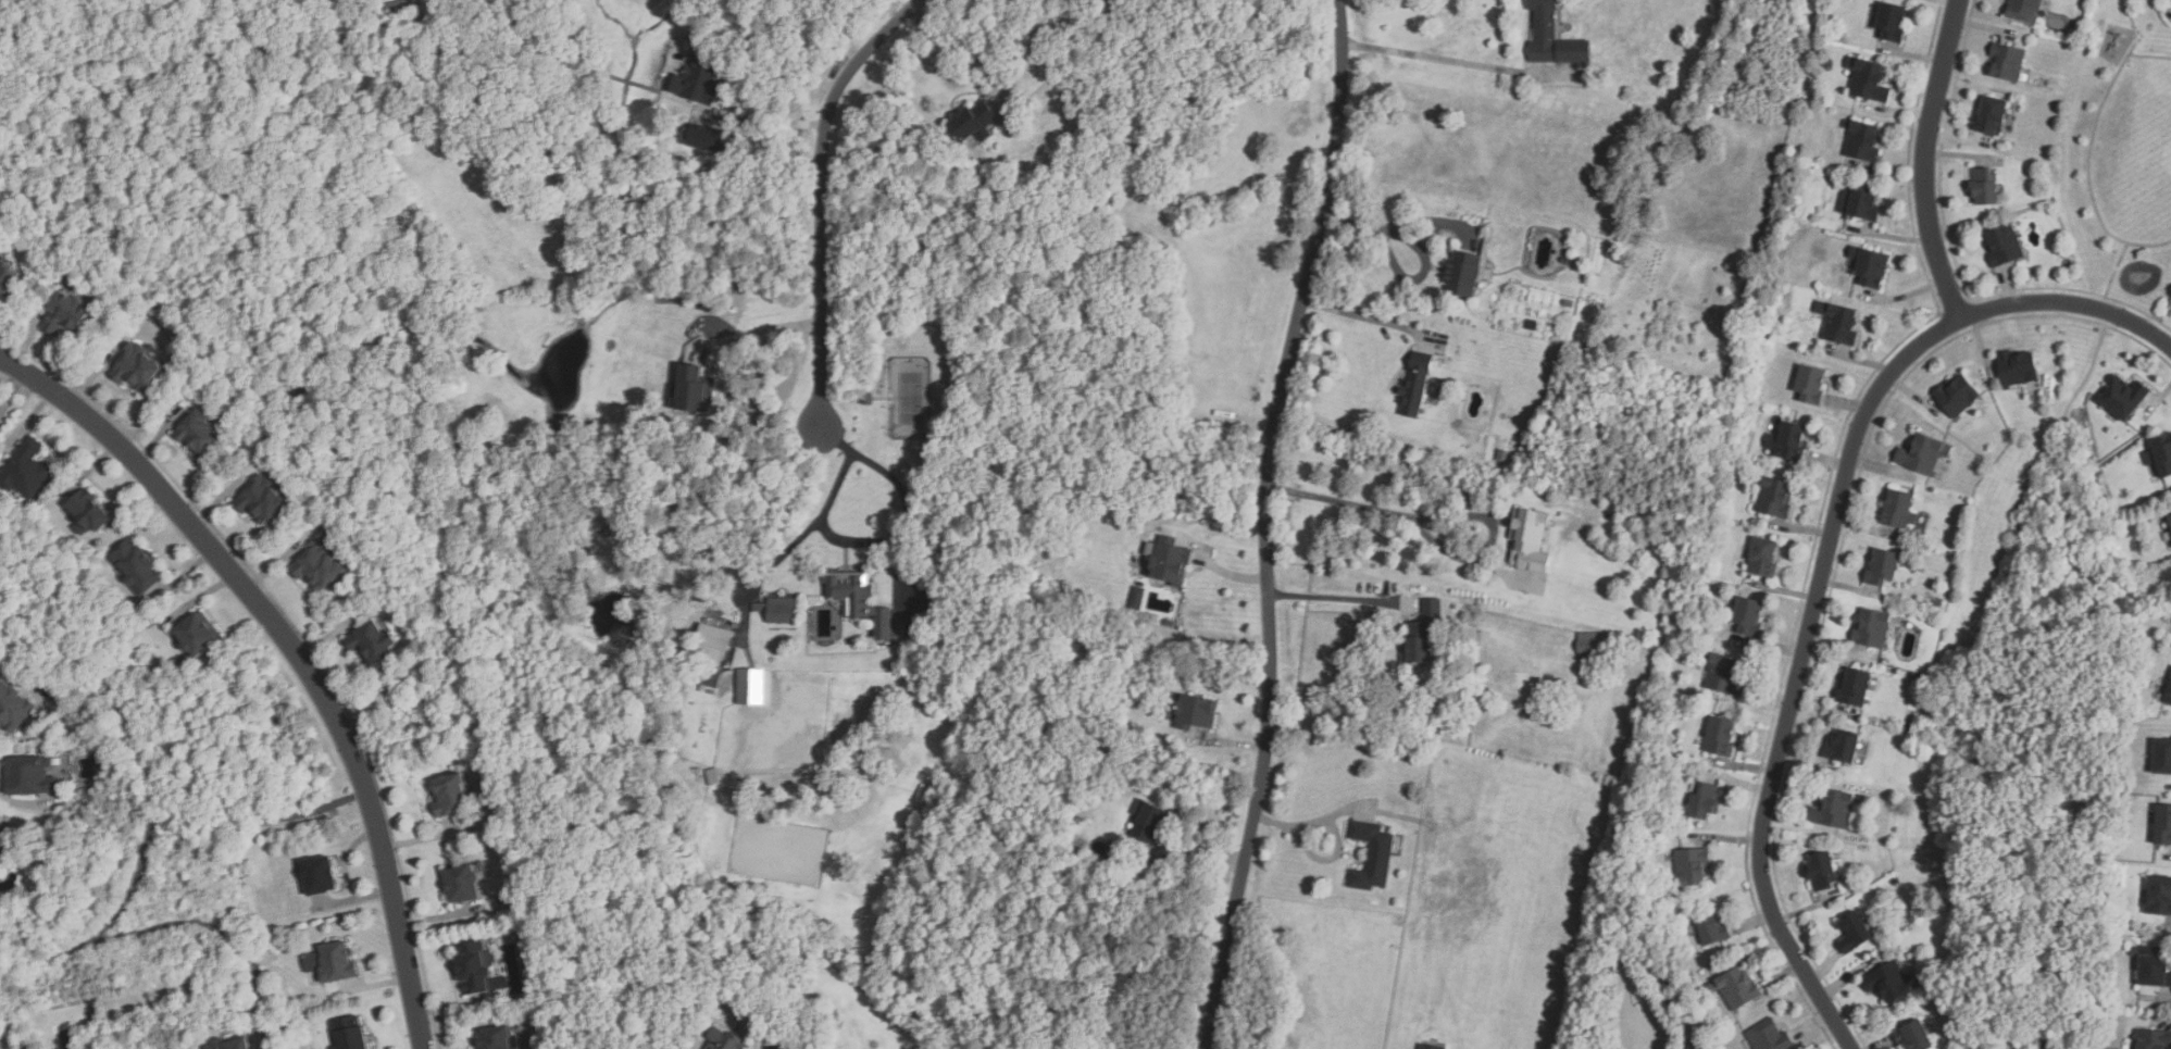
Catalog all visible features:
building: (2022, 10)
building: (403, 13)
building: (1892, 22)
building: (1550, 36)
road: (958, 46)
road: (1453, 62)
building: (2007, 62)
building: (1868, 79)
building: (698, 82)
building: (1992, 114)
road: (772, 115)
building: (973, 121)
building: (712, 140)
building: (1862, 140)
road: (1929, 159)
building: (1984, 186)
road: (829, 196)
building: (1863, 203)
road: (1395, 226)
building: (2004, 245)
building: (1567, 261)
building: (1870, 267)
road: (1423, 273)
building: (1462, 274)
building: (8, 278)
building: (66, 315)
road: (1368, 317)
building: (1842, 324)
building: (1533, 325)
road: (769, 328)
building: (137, 366)
building: (2018, 367)
building: (1810, 384)
building: (1415, 386)
building: (695, 389)
building: (1957, 396)
building: (2122, 397)
building: (868, 400)
building: (199, 434)
building: (1791, 441)
building: (2160, 453)
building: (1924, 454)
building: (27, 470)
building: (1774, 497)
building: (260, 501)
building: (1899, 509)
road: (1451, 511)
building: (87, 513)
building: (2169, 517)
road: (1265, 523)
road: (898, 540)
building: (1531, 541)
river: (2055, 545)
road: (785, 553)
building: (1762, 557)
road: (1824, 562)
building: (1171, 564)
building: (317, 565)
building: (137, 567)
building: (1882, 567)
road: (1230, 574)
road: (1335, 594)
building: (859, 600)
building: (781, 609)
building: (1669, 611)
building: (1748, 616)
building: (1872, 628)
building: (195, 635)
building: (1418, 641)
building: (371, 642)
building: (713, 645)
building: (1593, 645)
road: (299, 650)
building: (1724, 675)
road: (90, 676)
building: (711, 678)
building: (1551, 683)
building: (754, 687)
building: (1854, 687)
building: (2169, 697)
building: (13, 708)
building: (1199, 713)
building: (1720, 736)
road: (1232, 744)
building: (1843, 747)
building: (2162, 755)
road: (177, 775)
building: (30, 776)
building: (713, 777)
building: (925, 792)
building: (450, 796)
building: (1704, 802)
building: (1833, 810)
road: (1308, 819)
building: (2163, 825)
building: (1140, 835)
building: (3, 849)
road: (1197, 850)
road: (1321, 856)
building: (1372, 857)
building: (1692, 867)
building: (1822, 872)
building: (317, 875)
building: (461, 884)
building: (2159, 896)
road: (175, 925)
building: (1712, 929)
building: (1854, 933)
building: (336, 961)
building: (2155, 966)
building: (472, 967)
building: (1888, 982)
building: (1737, 988)
building: (348, 1033)
building: (1769, 1035)
river: (2044, 1036)
building: (1913, 1037)
building: (496, 1038)
building: (724, 1039)
building: (2154, 1039)
building: (230, 1044)
building: (1430, 1047)

